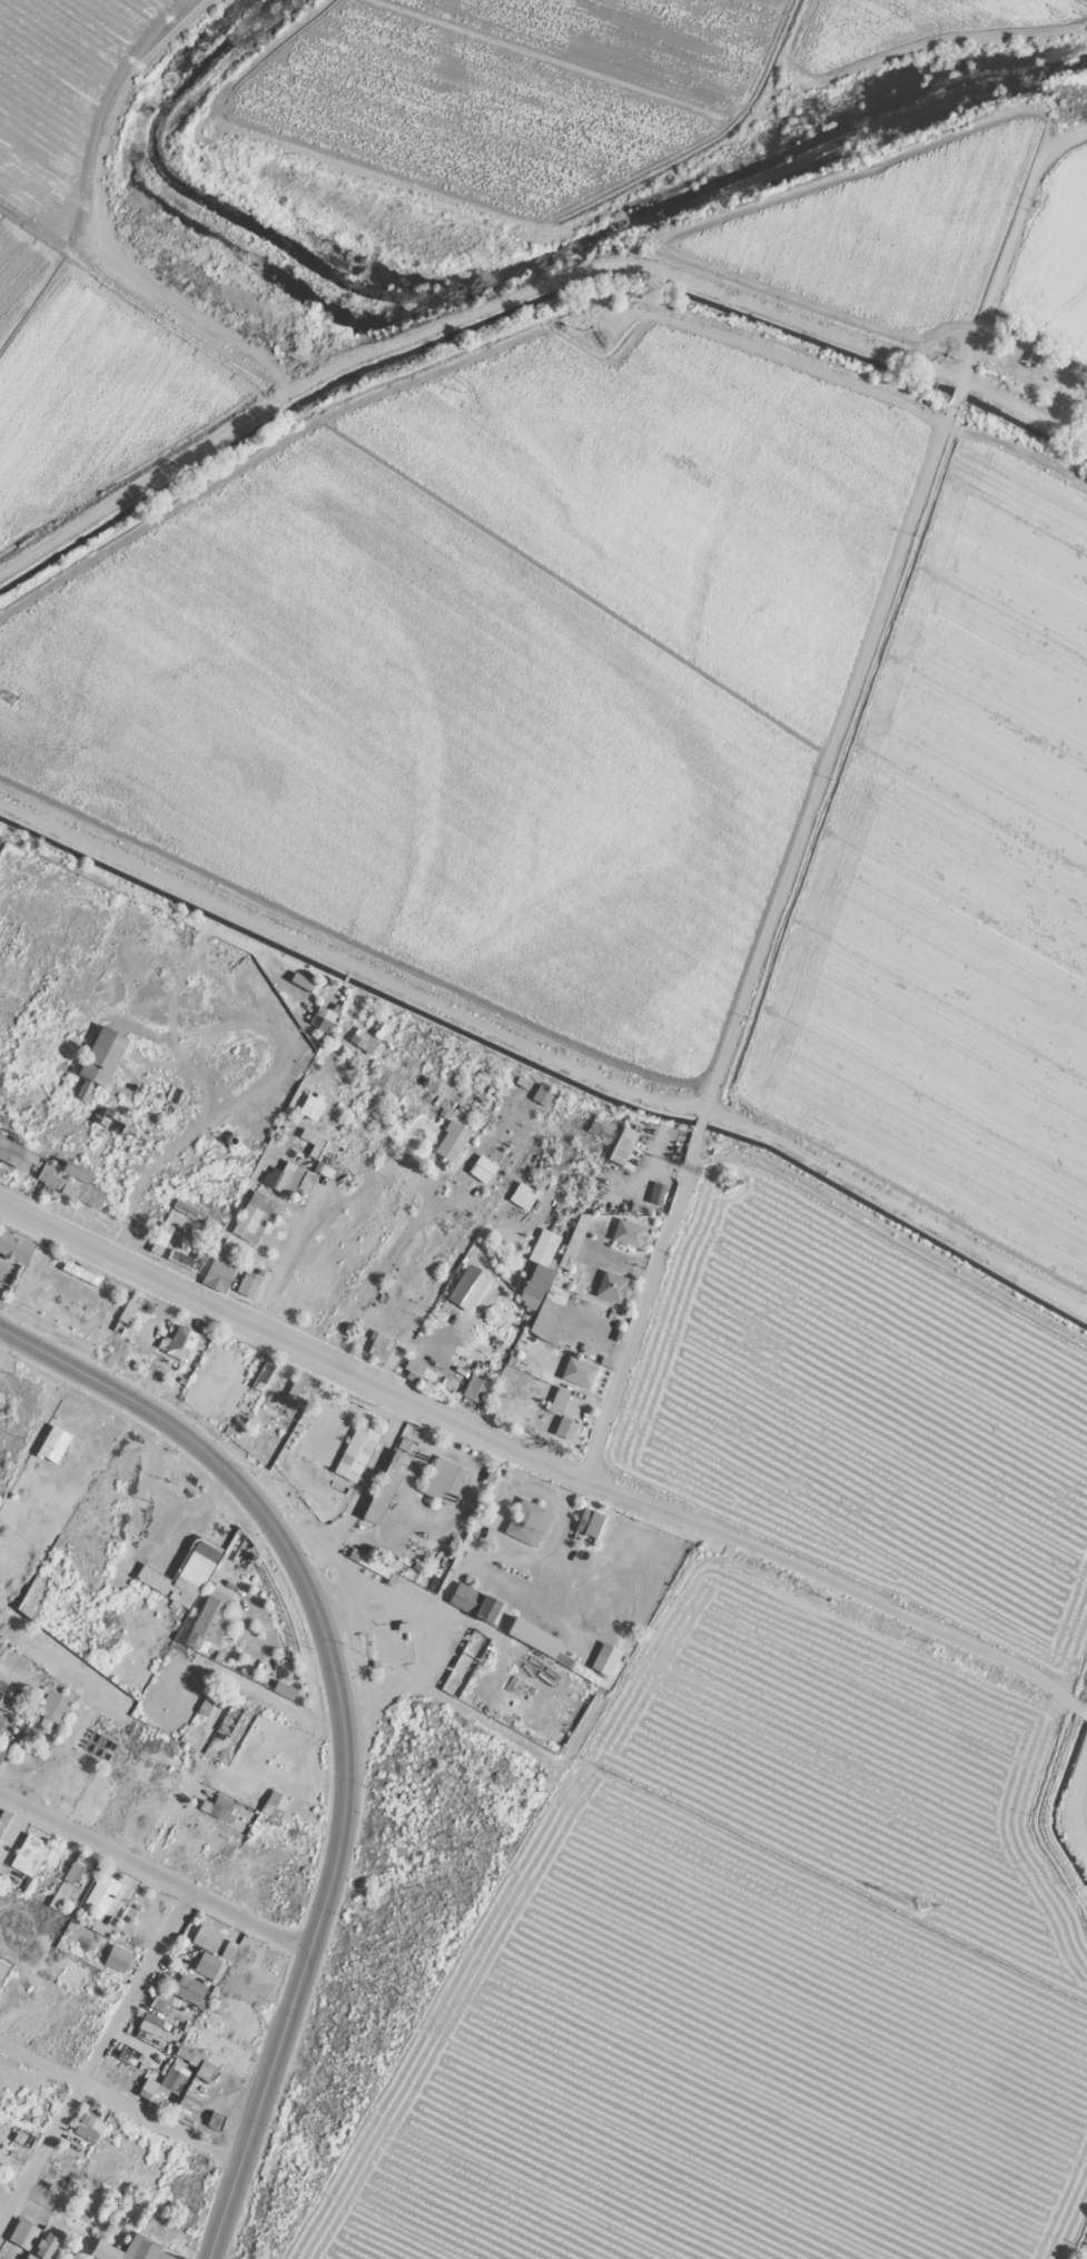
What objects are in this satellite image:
road: (348, 963)
road: (201, 1078)
road: (244, 1085)
road: (696, 1114)
road: (694, 1122)
road: (638, 1183)
road: (407, 1225)
road: (289, 1257)
road: (446, 1261)
road: (634, 1302)
road: (2, 1335)
road: (369, 1382)
road: (107, 1387)
road: (355, 1487)
road: (317, 1556)
road: (920, 1622)
road: (392, 1665)
road: (11, 1825)
road: (330, 1848)
road: (151, 1872)
road: (93, 2053)
road: (116, 2101)

